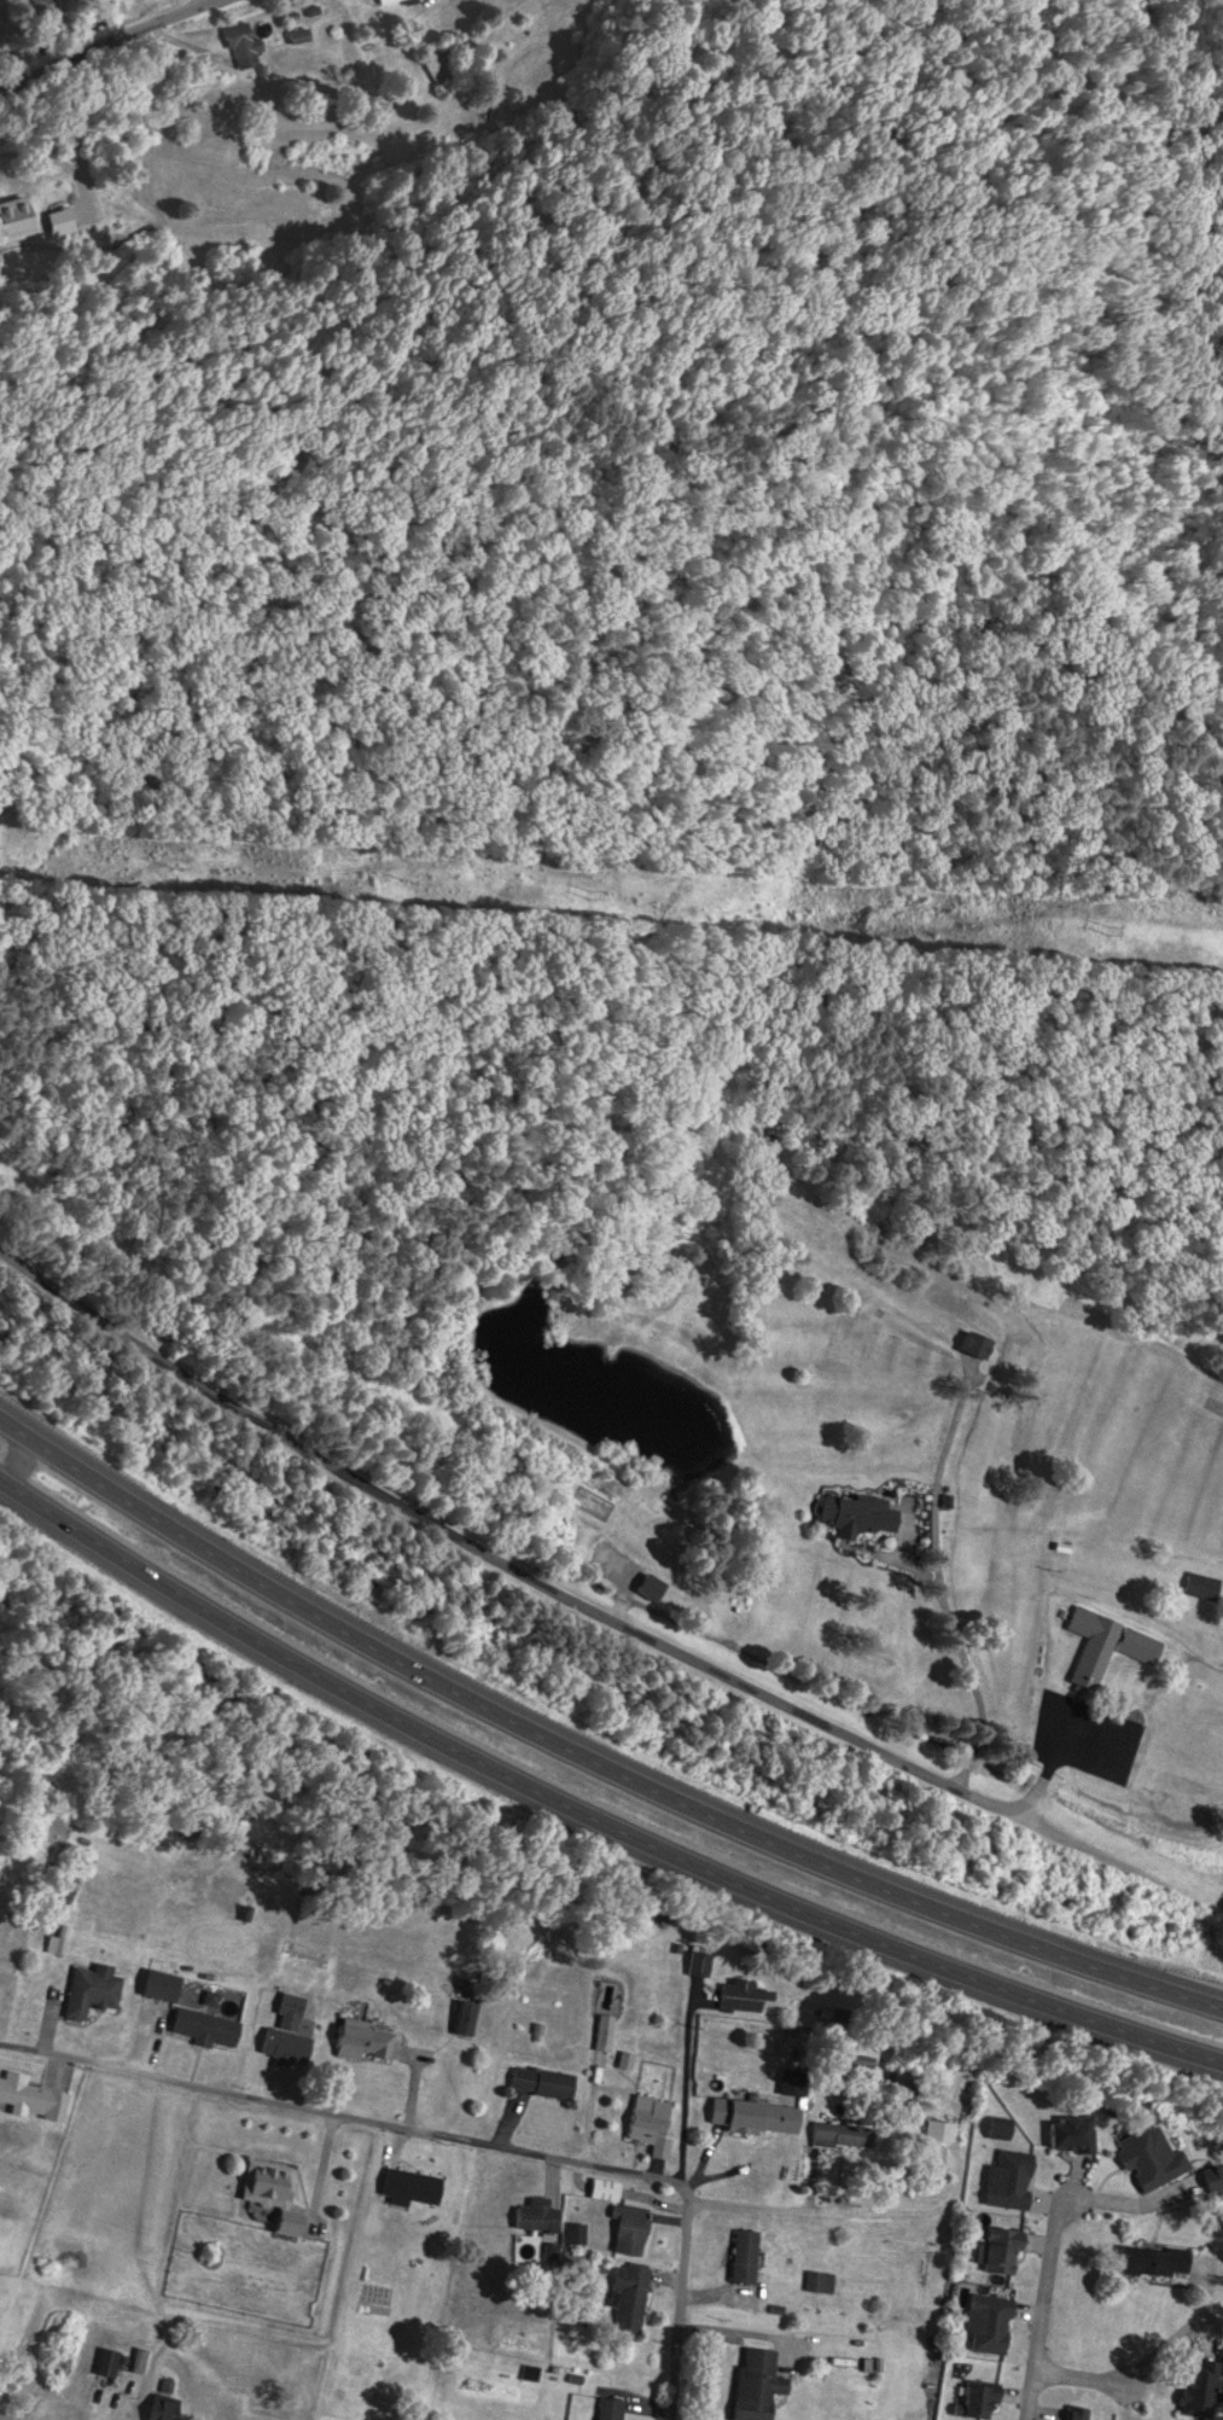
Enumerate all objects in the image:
building: (35, 1)
road: (104, 36)
building: (296, 36)
building: (241, 51)
building: (435, 68)
building: (12, 220)
building: (971, 1344)
building: (851, 1516)
road: (942, 1583)
building: (1198, 1586)
road: (594, 1612)
building: (1134, 1645)
building: (1087, 1646)
road: (588, 1763)
road: (588, 1822)
building: (695, 1964)
building: (87, 1990)
building: (738, 1996)
building: (461, 2018)
building: (199, 2028)
building: (601, 2032)
building: (359, 2043)
building: (537, 2082)
building: (29, 2098)
building: (750, 2116)
building: (642, 2119)
building: (992, 2131)
building: (1066, 2134)
building: (838, 2135)
road: (453, 2139)
building: (936, 2139)
building: (1147, 2157)
building: (1212, 2177)
building: (1004, 2180)
building: (406, 2186)
building: (267, 2193)
building: (532, 2217)
building: (624, 2229)
building: (994, 2247)
building: (740, 2257)
building: (1148, 2261)
building: (815, 2282)
building: (625, 2298)
road: (1041, 2308)
building: (984, 2323)
building: (135, 2361)
building: (105, 2366)
road: (1077, 2375)
building: (751, 2384)
building: (1195, 2389)
building: (974, 2401)
building: (159, 2407)
building: (606, 2409)
building: (1072, 2413)

